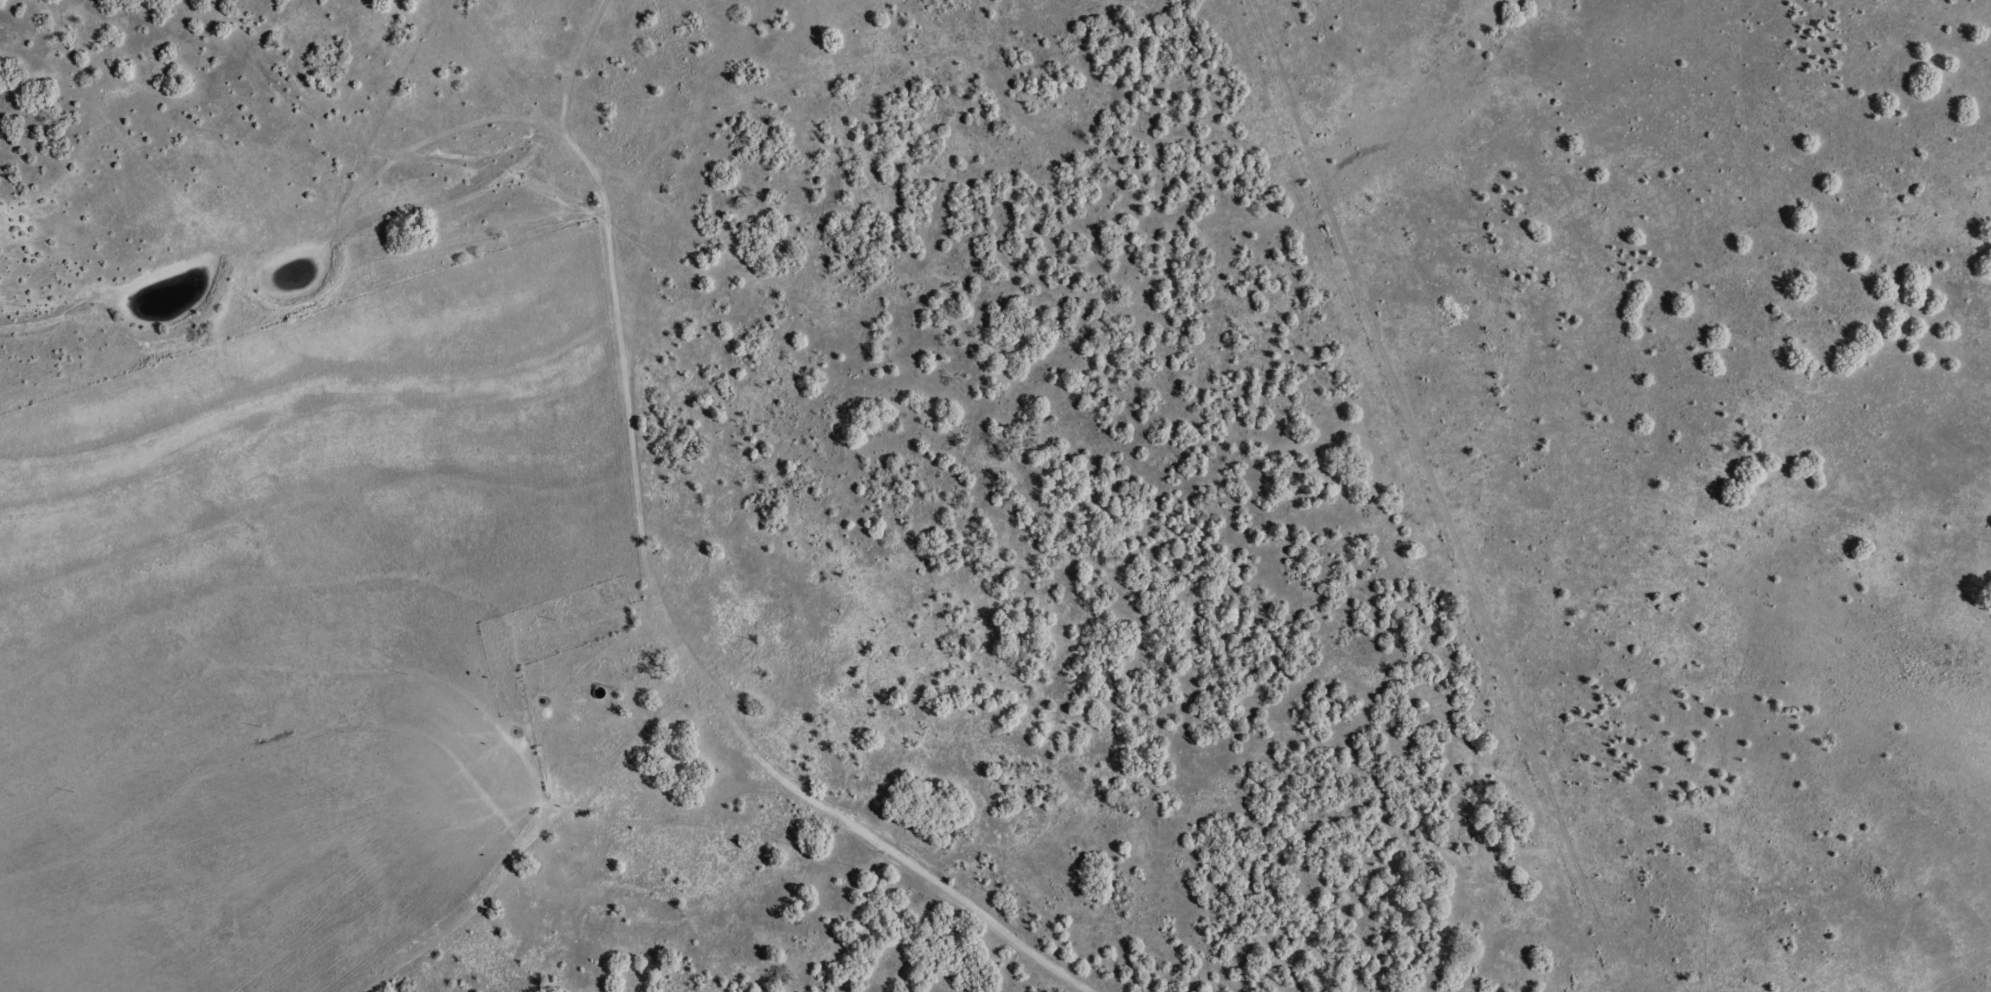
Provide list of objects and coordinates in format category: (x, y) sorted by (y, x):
road: (635, 587)
road: (479, 851)

